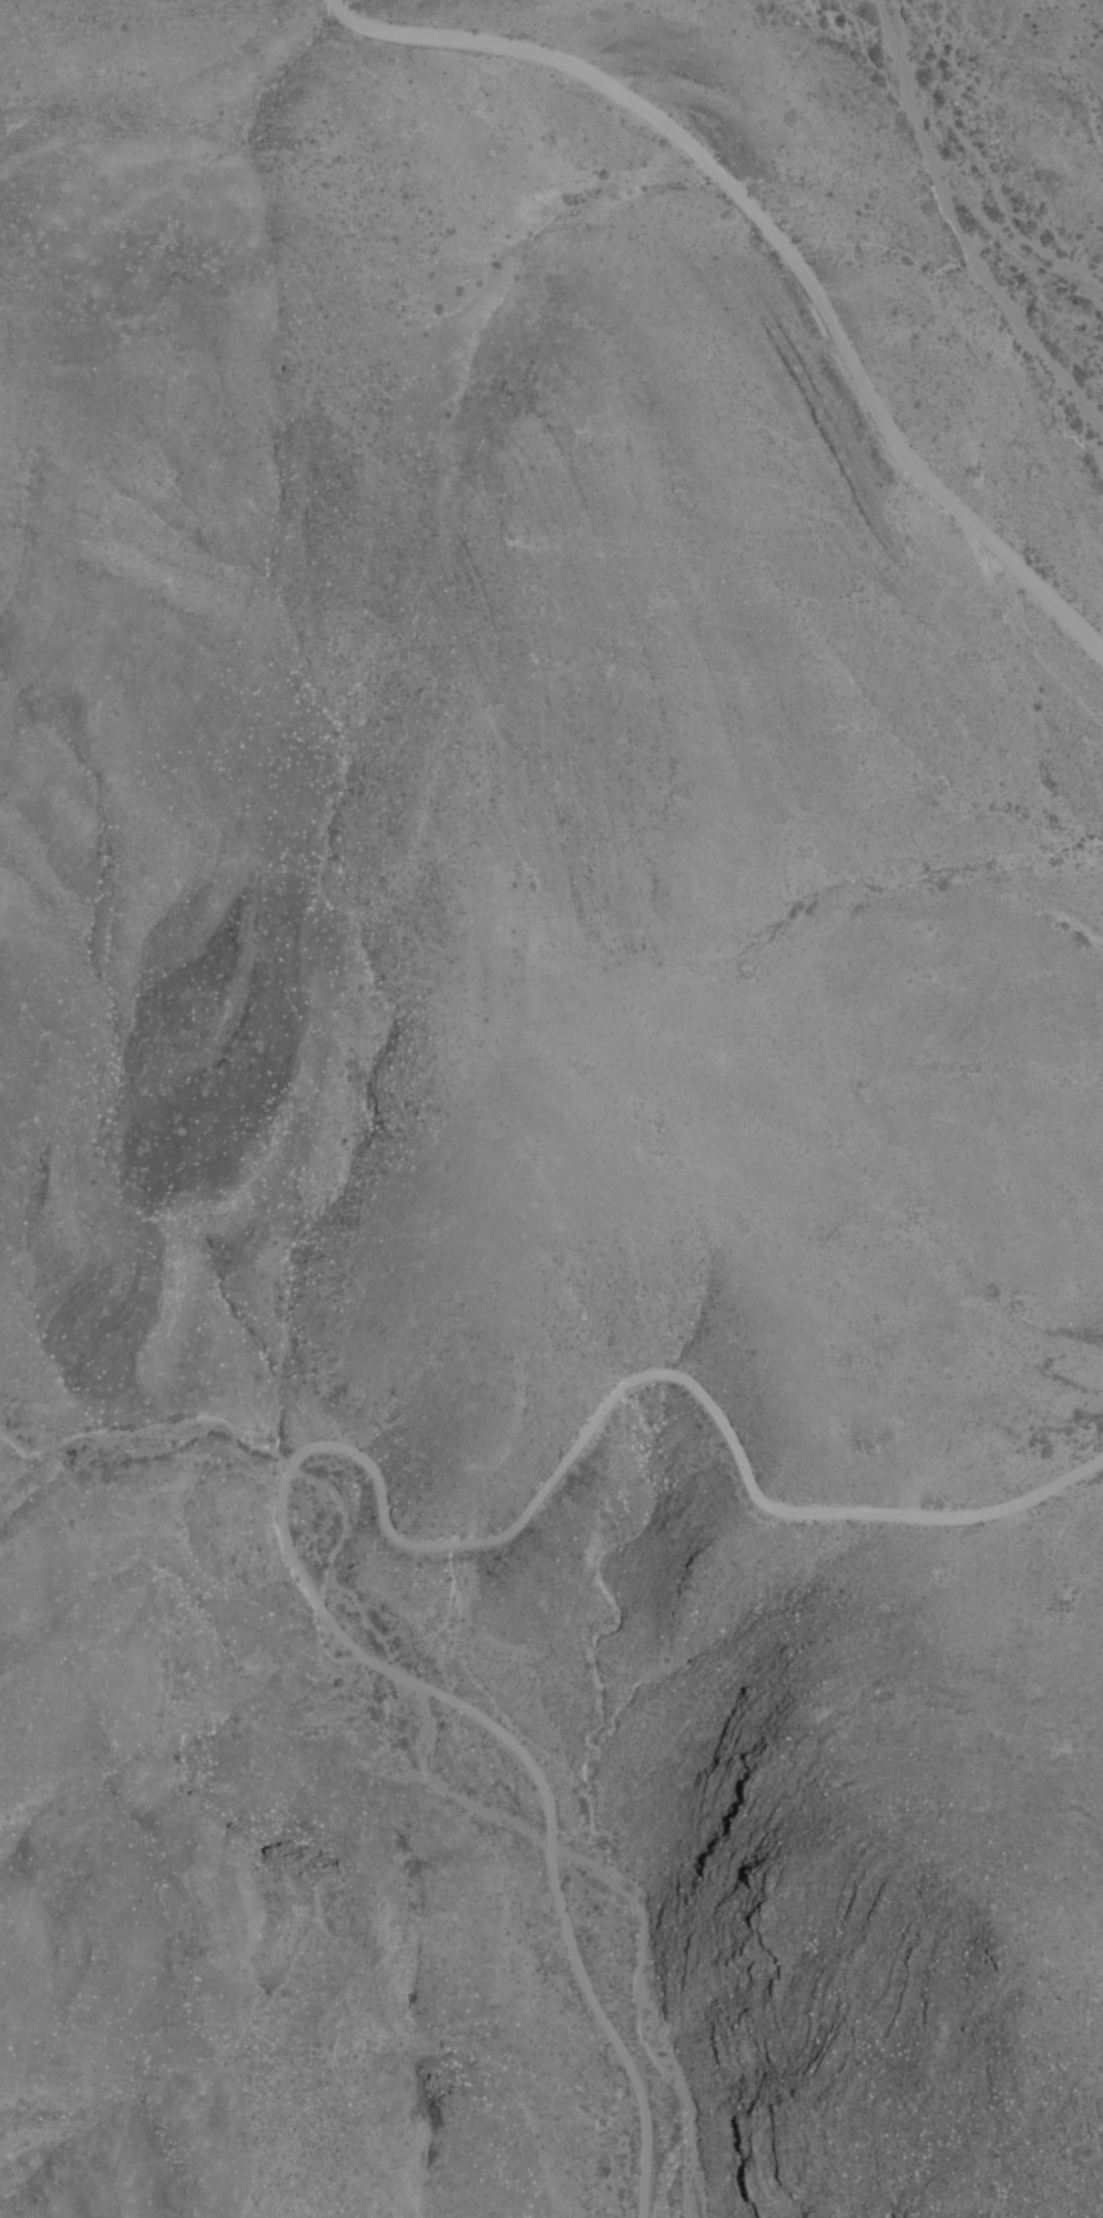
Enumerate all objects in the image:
river: (351, 1)
river: (336, 11)
river: (859, 44)
river: (224, 119)
river: (662, 183)
road: (773, 245)
river: (782, 252)
river: (889, 253)
road: (354, 1456)
river: (657, 2052)

